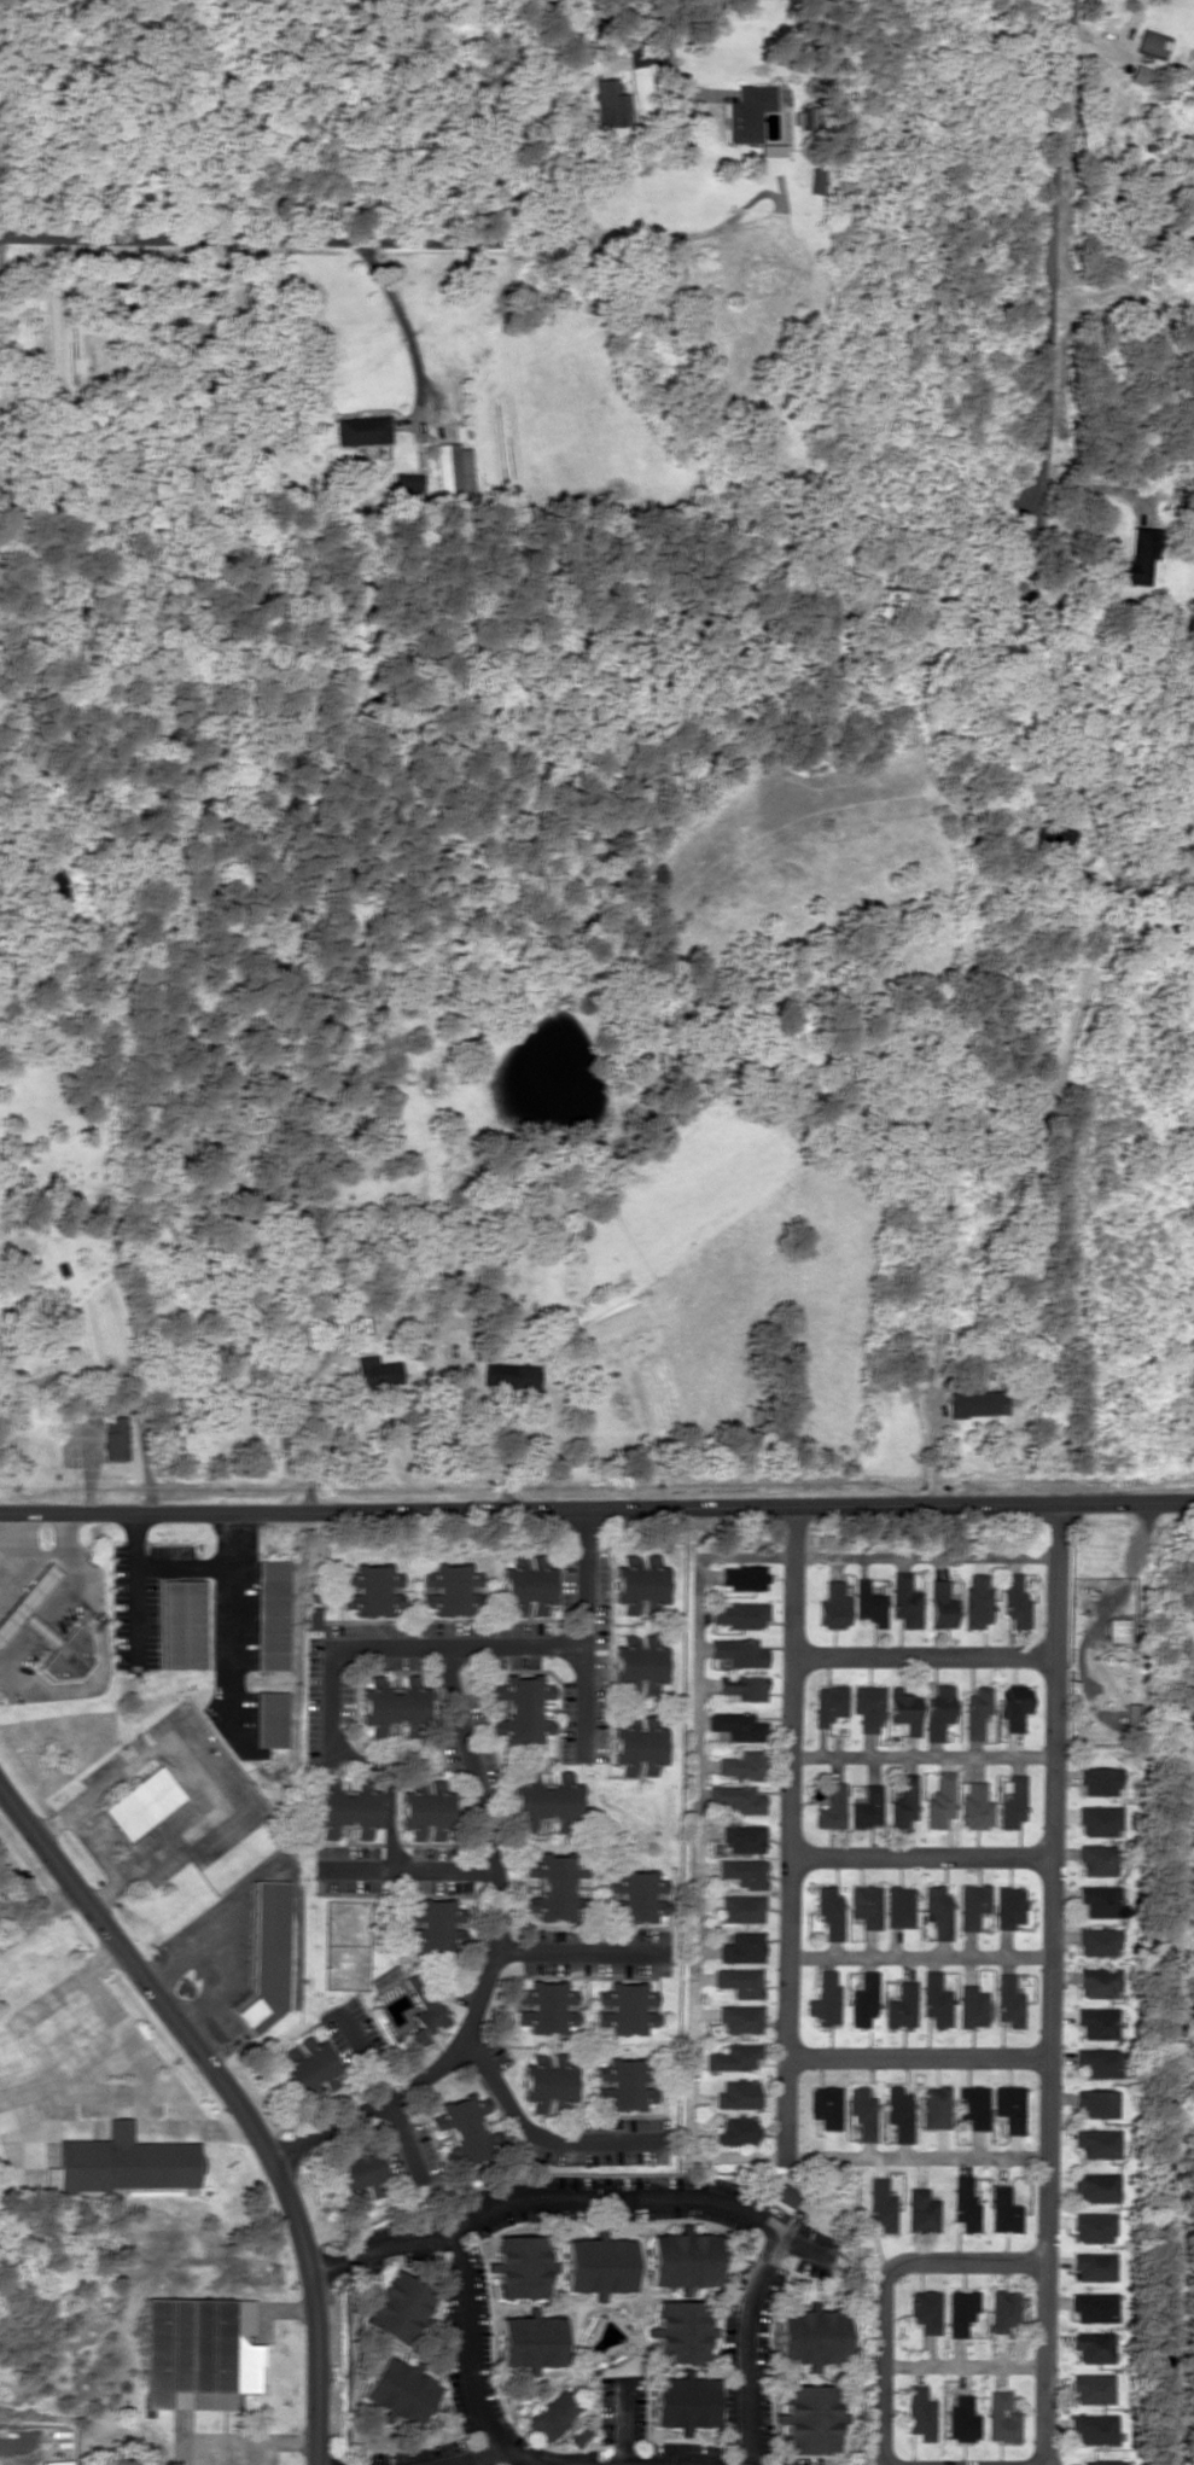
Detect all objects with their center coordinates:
building: (1151, 41)
building: (611, 103)
building: (749, 111)
building: (816, 180)
road: (150, 240)
road: (1042, 251)
building: (776, 268)
building: (362, 429)
building: (454, 476)
building: (1137, 558)
building: (377, 1370)
building: (511, 1375)
building: (975, 1400)
building: (115, 1437)
road: (596, 1504)
building: (742, 1577)
building: (639, 1584)
building: (526, 1585)
building: (373, 1589)
building: (449, 1589)
building: (1015, 1598)
building: (905, 1599)
building: (978, 1599)
building: (869, 1602)
building: (940, 1602)
building: (833, 1604)
building: (272, 1614)
building: (741, 1614)
building: (314, 1618)
building: (184, 1622)
building: (1116, 1628)
road: (337, 1647)
building: (69, 1651)
building: (739, 1651)
road: (924, 1659)
building: (637, 1663)
building: (745, 1686)
road: (581, 1696)
building: (829, 1702)
building: (394, 1704)
building: (868, 1704)
building: (520, 1707)
building: (904, 1708)
building: (975, 1711)
building: (1012, 1711)
building: (938, 1712)
building: (270, 1718)
building: (738, 1725)
building: (636, 1747)
road: (922, 1753)
building: (744, 1765)
building: (1097, 1781)
building: (736, 1799)
building: (939, 1799)
building: (1010, 1800)
building: (904, 1801)
building: (141, 1802)
building: (544, 1802)
building: (975, 1806)
building: (346, 1807)
building: (832, 1807)
building: (867, 1807)
building: (426, 1810)
road: (478, 1813)
building: (1097, 1820)
road: (790, 1836)
building: (744, 1837)
road: (695, 1854)
road: (920, 1859)
building: (1096, 1859)
road: (409, 1867)
building: (744, 1871)
building: (553, 1886)
building: (635, 1894)
building: (1099, 1900)
building: (866, 1904)
building: (972, 1904)
building: (898, 1905)
building: (1008, 1906)
building: (741, 1907)
building: (937, 1910)
building: (829, 1911)
building: (433, 1923)
building: (1097, 1941)
building: (742, 1947)
road: (573, 1948)
building: (266, 1954)
road: (918, 1954)
building: (384, 1977)
building: (740, 1981)
building: (1097, 1981)
road: (1047, 1983)
building: (826, 1999)
building: (863, 1999)
building: (936, 1999)
building: (1008, 2000)
building: (901, 2005)
building: (547, 2006)
building: (972, 2006)
building: (627, 2007)
building: (425, 2015)
building: (740, 2017)
building: (1096, 2022)
road: (366, 2053)
building: (735, 2057)
road: (918, 2057)
building: (1097, 2062)
building: (305, 2063)
building: (547, 2081)
building: (623, 2084)
building: (739, 2094)
road: (232, 2097)
building: (1095, 2102)
building: (972, 2105)
building: (934, 2106)
building: (1008, 2106)
building: (825, 2108)
building: (862, 2111)
building: (898, 2113)
building: (466, 2127)
road: (401, 2128)
building: (739, 2129)
road: (531, 2131)
building: (1096, 2141)
building: (123, 2162)
building: (360, 2168)
building: (1096, 2186)
building: (785, 2195)
road: (636, 2197)
building: (963, 2202)
building: (880, 2204)
building: (921, 2210)
building: (1003, 2210)
building: (1093, 2226)
building: (682, 2259)
building: (598, 2265)
building: (522, 2266)
building: (1094, 2266)
road: (881, 2288)
road: (462, 2301)
building: (398, 2306)
building: (1094, 2306)
building: (1003, 2309)
building: (925, 2310)
building: (960, 2310)
building: (681, 2331)
building: (811, 2336)
road: (741, 2343)
building: (1093, 2345)
building: (199, 2352)
road: (963, 2362)
building: (1091, 2388)
building: (400, 2390)
building: (683, 2401)
building: (919, 2412)
building: (553, 2414)
building: (810, 2417)
building: (1001, 2417)
building: (961, 2419)
road: (623, 2426)
building: (1093, 2428)
road: (519, 2454)
road: (872, 2457)
road: (656, 2461)
building: (1100, 2463)

